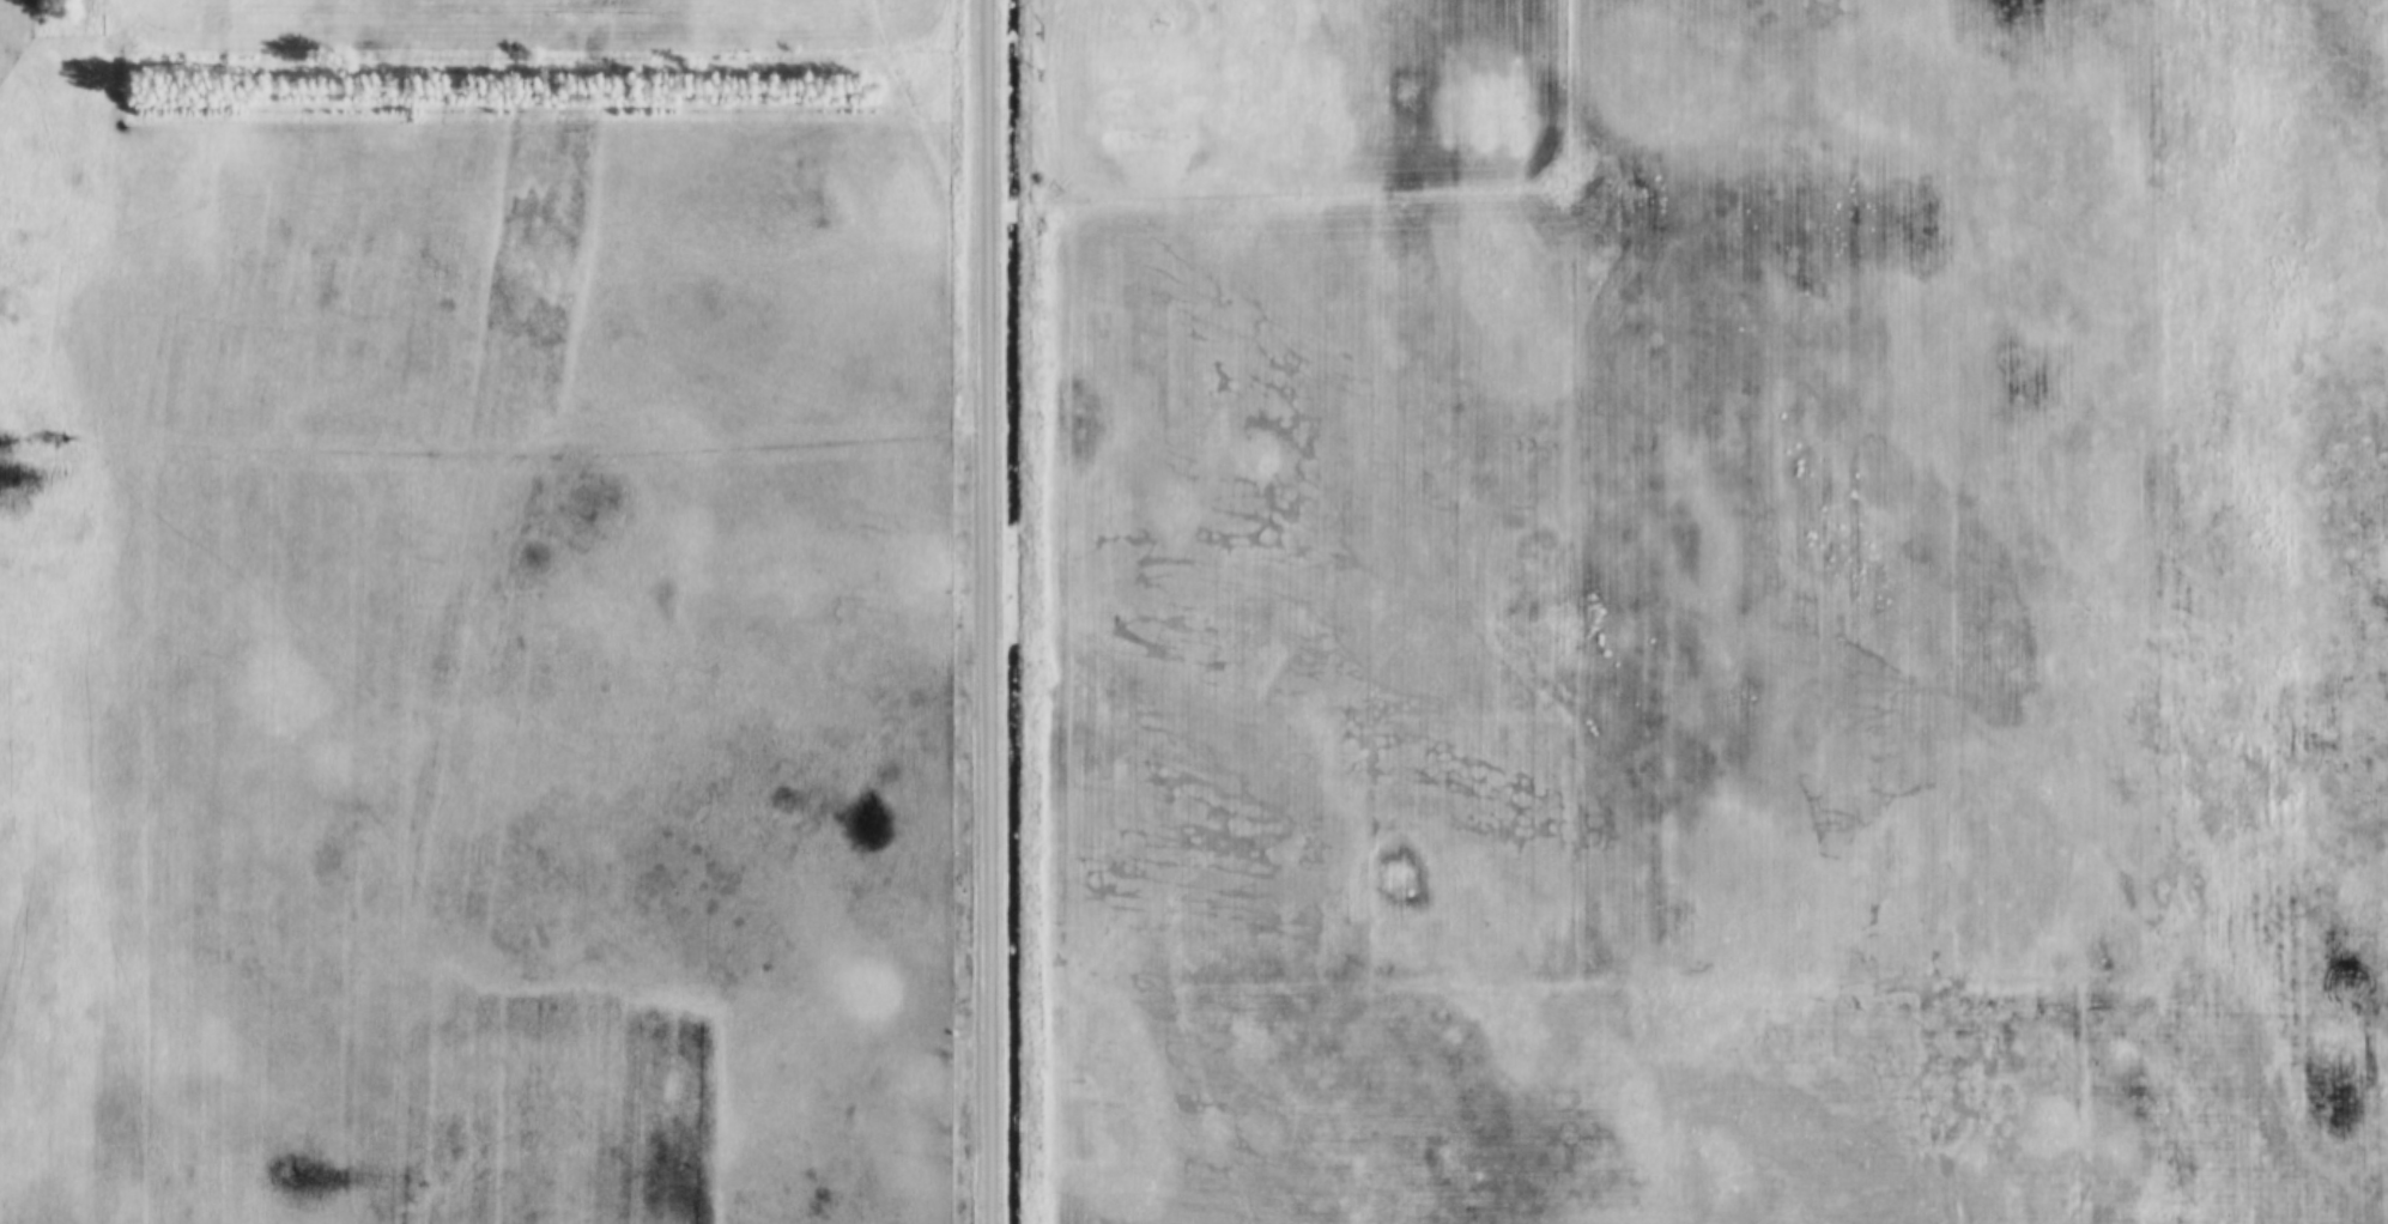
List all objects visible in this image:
road: (109, 50)
road: (1235, 57)
road: (987, 611)

